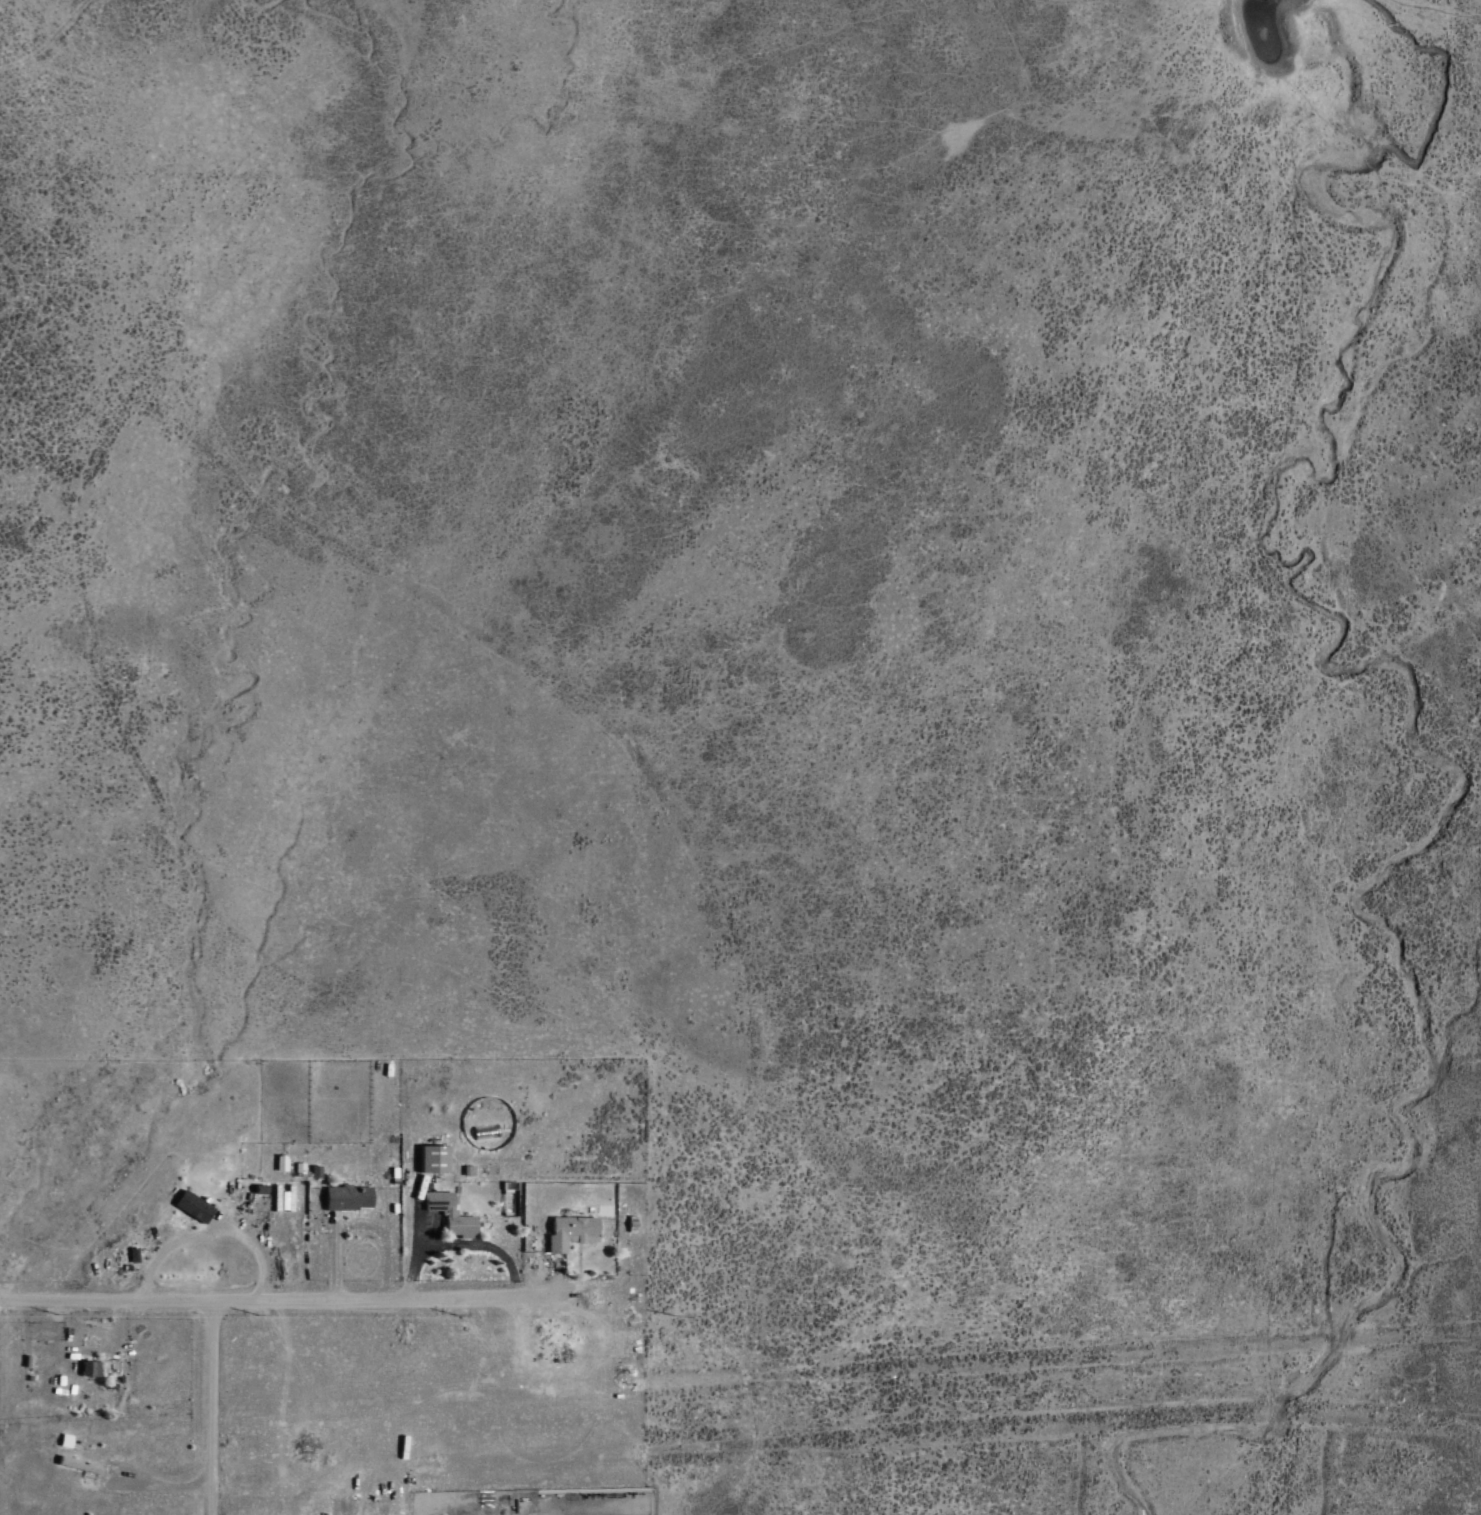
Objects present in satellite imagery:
crop: (743, 103)
building: (433, 1157)
building: (280, 1161)
building: (347, 1196)
building: (282, 1197)
building: (192, 1205)
building: (450, 1212)
building: (631, 1222)
building: (570, 1231)
road: (590, 1271)
road: (252, 1273)
building: (89, 1367)
building: (77, 1463)

